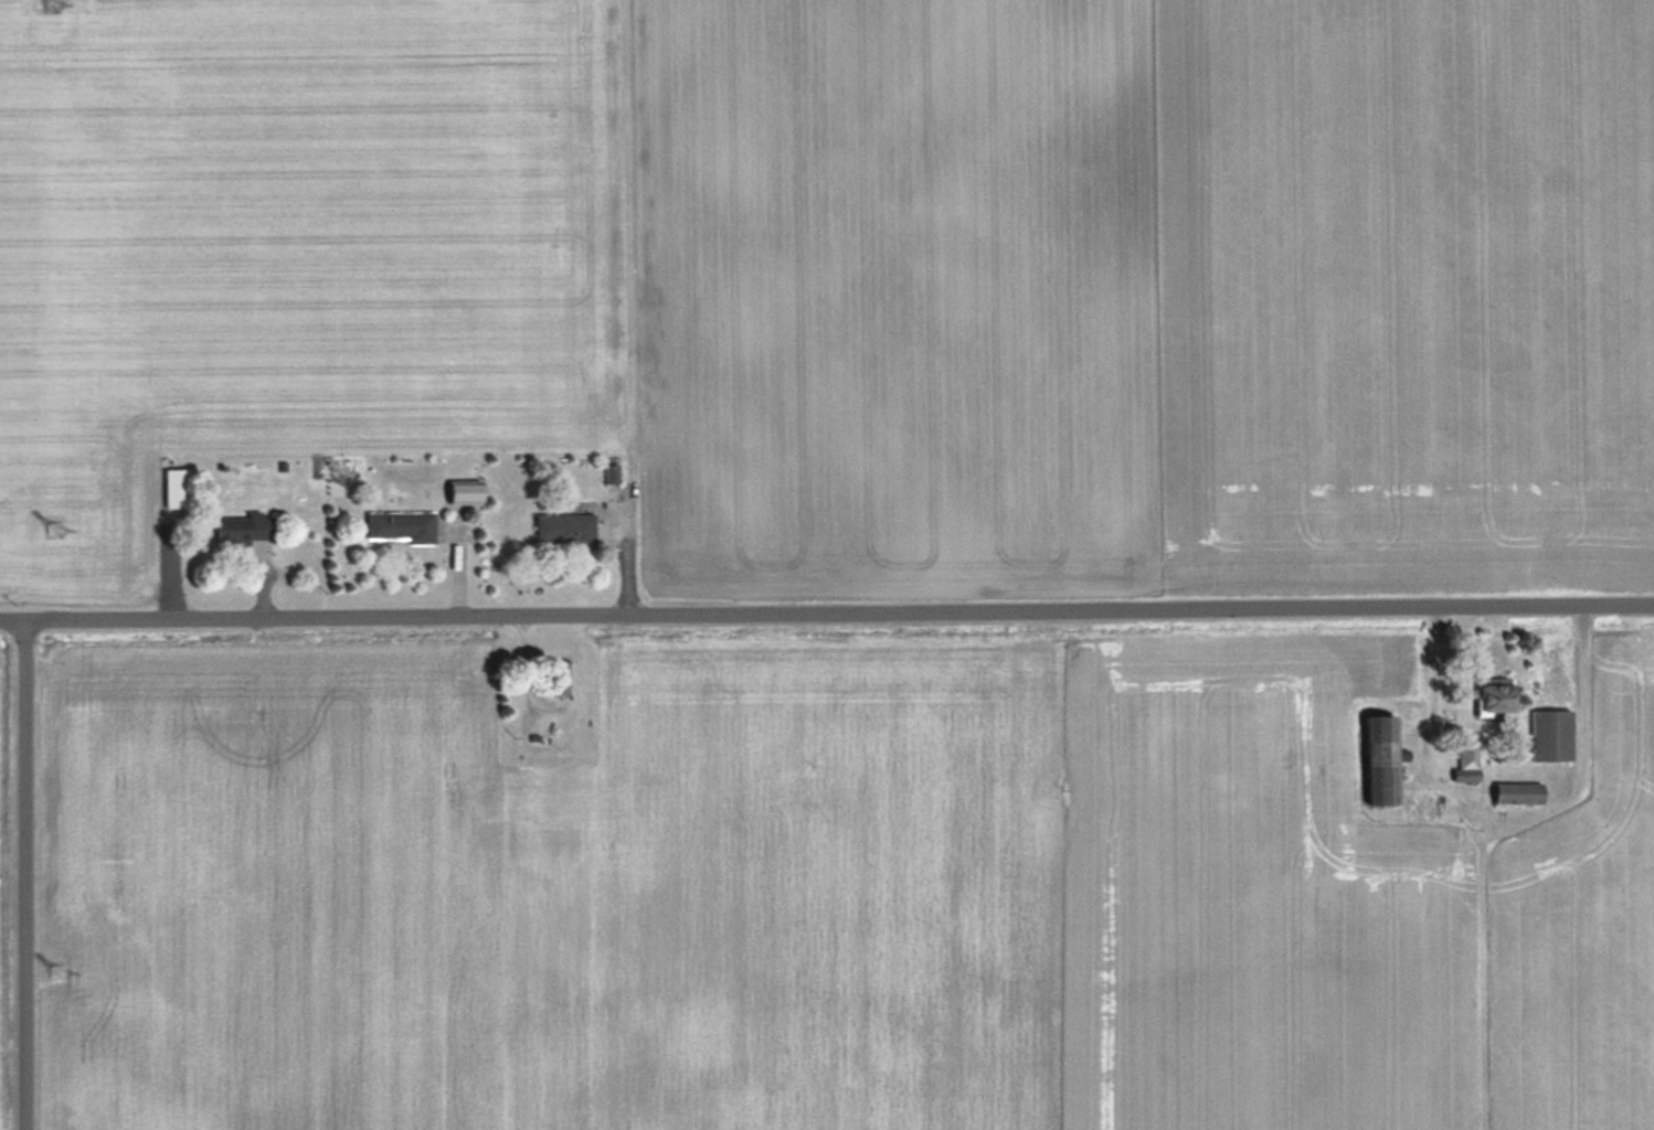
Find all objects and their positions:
power tower: (54, 4)
building: (466, 493)
building: (178, 494)
building: (401, 525)
building: (246, 529)
power tower: (55, 530)
building: (565, 530)
road: (827, 618)
building: (564, 675)
building: (1496, 696)
building: (1551, 733)
building: (1467, 755)
building: (1382, 756)
building: (1518, 790)
road: (1507, 818)
road: (29, 878)
power tower: (59, 973)

